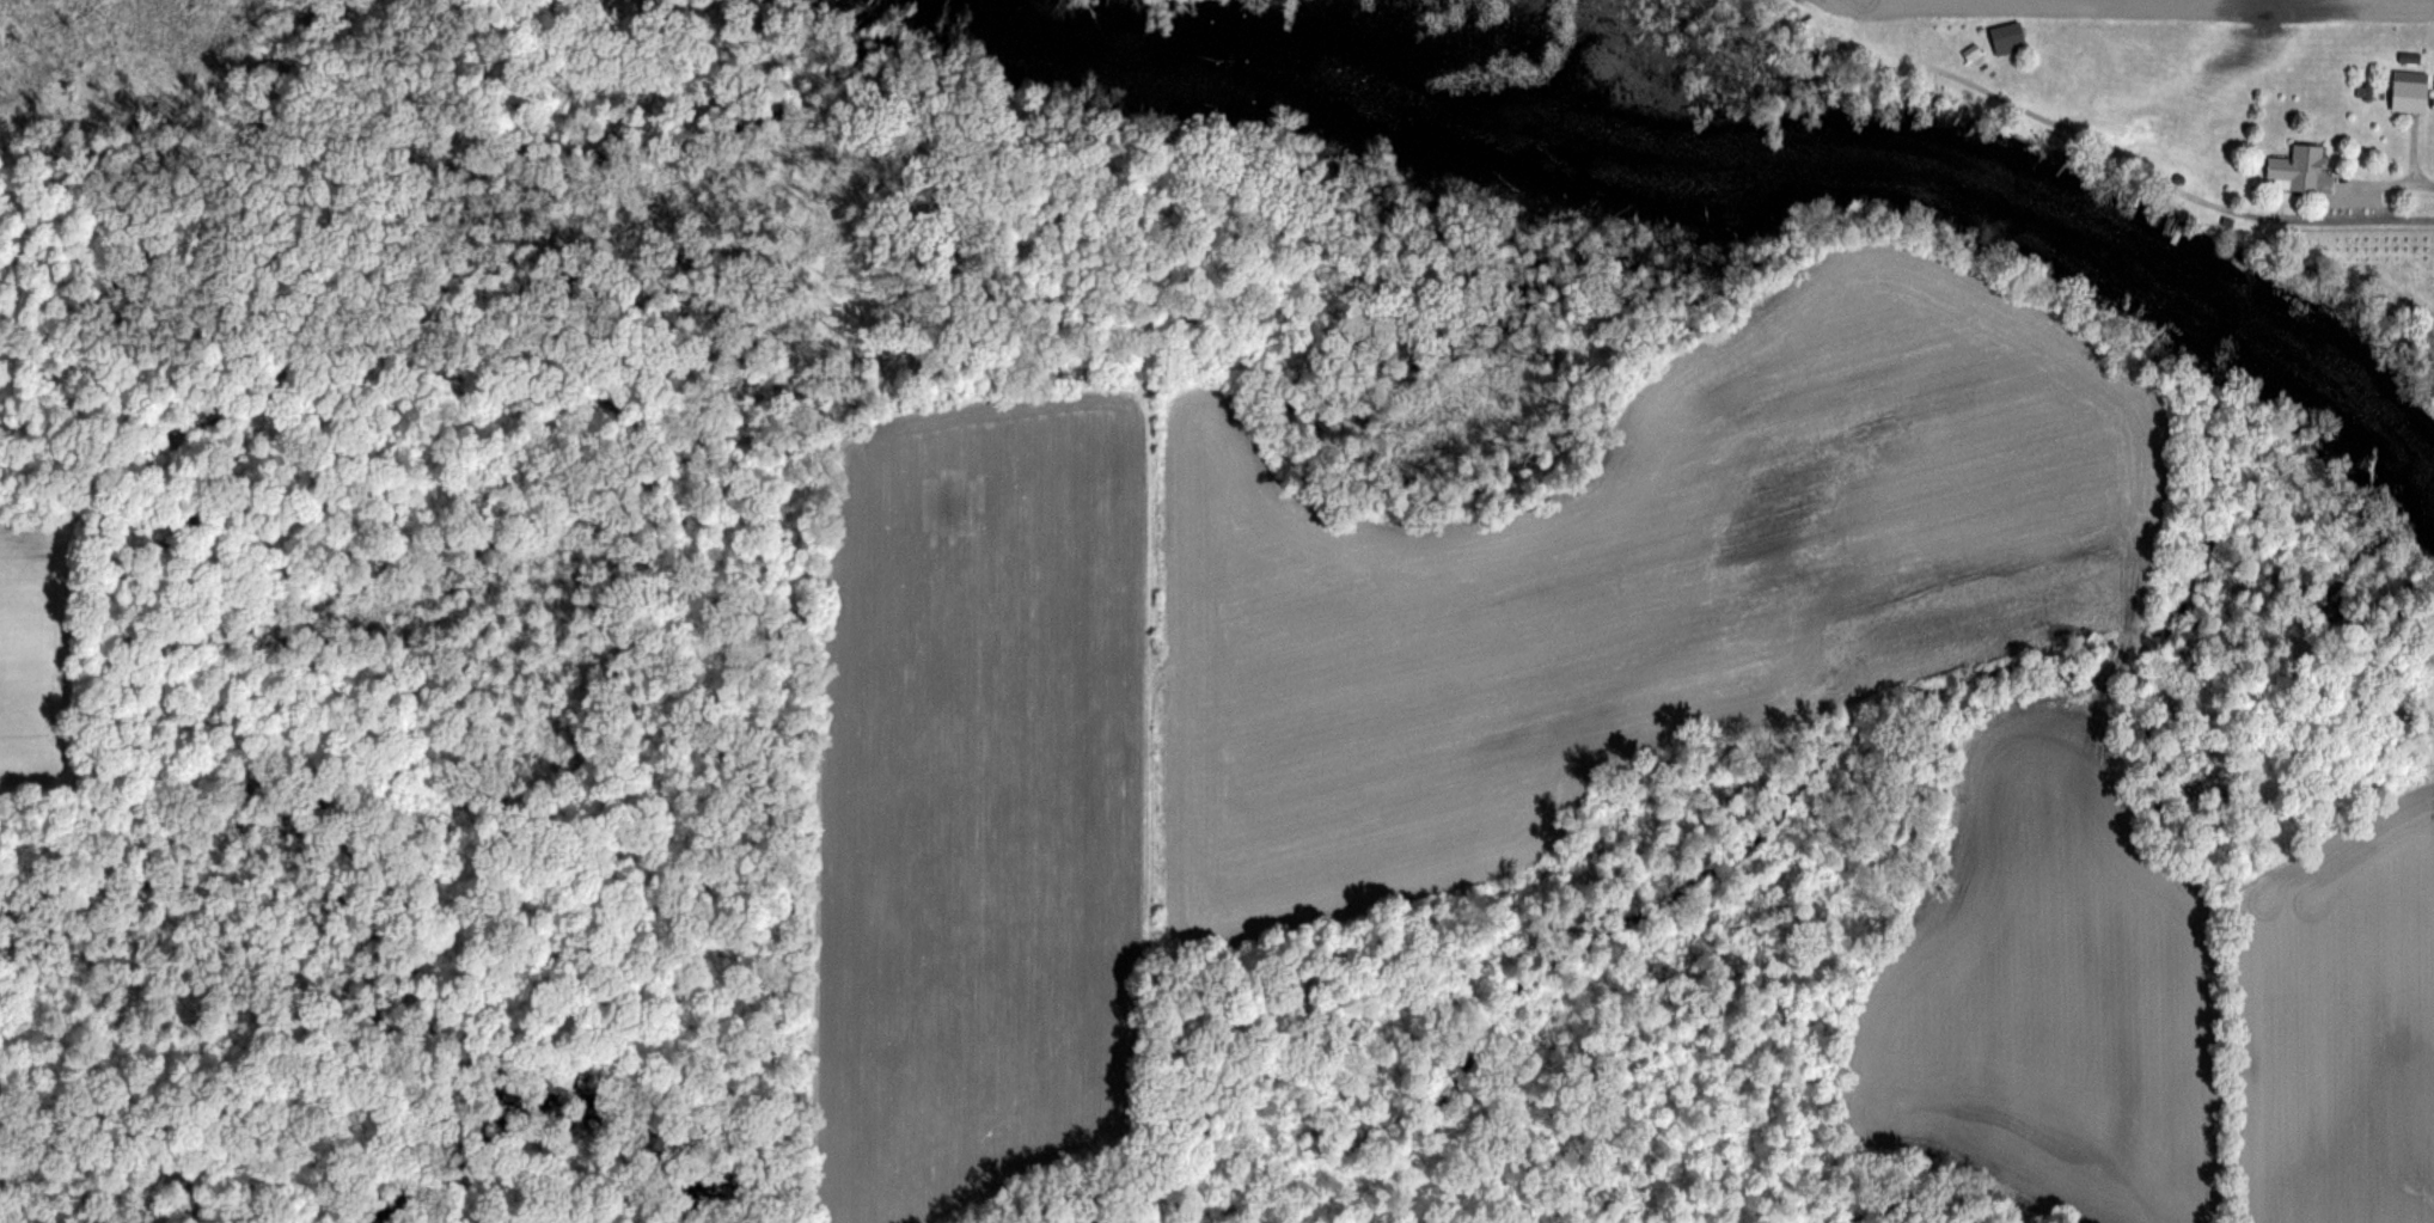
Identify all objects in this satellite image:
river: (989, 22)
building: (2010, 39)
building: (2410, 92)
building: (2298, 170)
road: (2375, 183)
road: (2183, 195)

